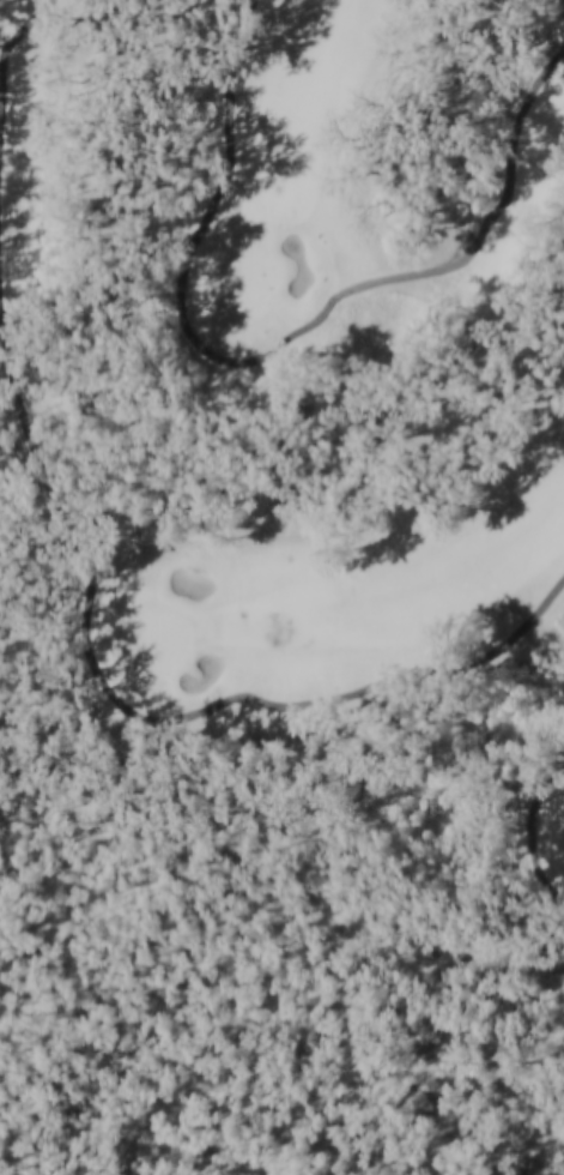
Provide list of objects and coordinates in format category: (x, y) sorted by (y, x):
road: (5, 110)
road: (278, 347)
park: (295, 438)
road: (140, 715)
road: (530, 833)

